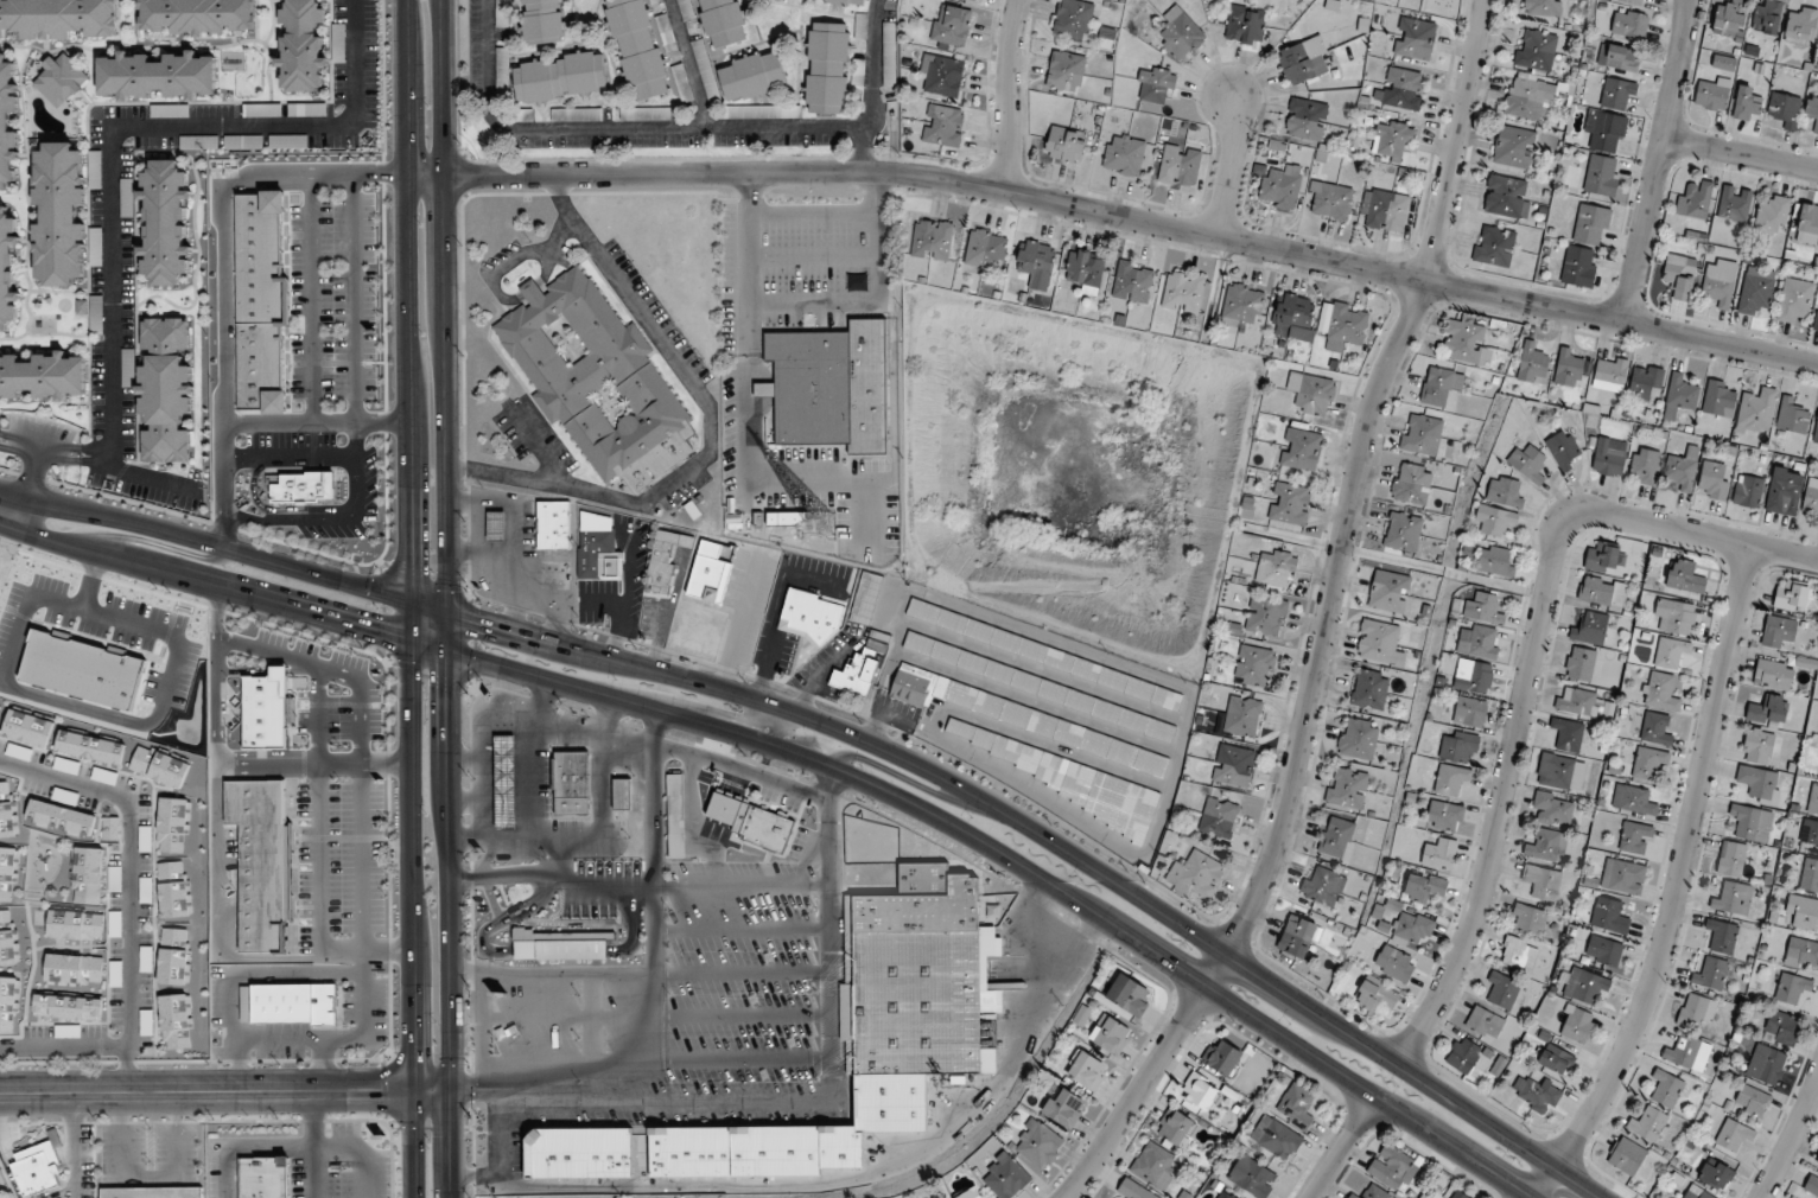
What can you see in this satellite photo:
building: (654, 0)
building: (973, 0)
building: (846, 1)
building: (1627, 1)
building: (1542, 7)
building: (501, 13)
building: (195, 15)
building: (1766, 17)
building: (1728, 18)
building: (57, 19)
building: (1072, 19)
building: (541, 21)
building: (720, 23)
building: (1629, 24)
building: (1245, 25)
building: (1801, 25)
building: (951, 27)
building: (860, 30)
building: (1180, 34)
building: (1415, 38)
building: (301, 46)
building: (1817, 47)
building: (637, 49)
building: (1536, 50)
building: (889, 53)
building: (1619, 57)
building: (1301, 63)
building: (827, 68)
building: (1066, 71)
building: (157, 76)
building: (559, 76)
building: (751, 76)
building: (941, 76)
building: (58, 79)
building: (1156, 84)
building: (1403, 89)
road: (1007, 94)
building: (1617, 94)
building: (1712, 94)
building: (1530, 97)
building: (1746, 104)
building: (1785, 109)
building: (1812, 109)
building: (522, 114)
building: (576, 114)
building: (1305, 119)
building: (7, 123)
building: (943, 126)
road: (684, 127)
building: (1606, 130)
building: (1392, 139)
building: (1064, 145)
building: (1513, 146)
road: (862, 149)
building: (1124, 154)
road: (1741, 154)
road: (1659, 161)
road: (110, 164)
road: (1232, 165)
building: (1180, 166)
building: (94, 170)
building: (1601, 174)
building: (1279, 189)
building: (1506, 196)
building: (1695, 197)
building: (1330, 200)
building: (1734, 203)
building: (1385, 210)
building: (59, 214)
road: (1117, 214)
building: (1772, 216)
building: (165, 222)
building: (1591, 224)
building: (1807, 225)
road: (748, 237)
road: (878, 237)
building: (932, 240)
building: (1494, 246)
building: (95, 247)
building: (985, 249)
building: (1035, 259)
building: (1579, 266)
building: (8, 269)
building: (1085, 269)
building: (1679, 275)
building: (1132, 281)
building: (856, 282)
building: (1755, 289)
building: (1717, 291)
building: (1183, 292)
building: (1794, 299)
road: (815, 302)
building: (1241, 306)
building: (95, 314)
building: (1293, 317)
building: (1816, 320)
building: (1346, 327)
building: (1464, 343)
building: (1532, 364)
building: (1568, 367)
building: (1610, 374)
building: (43, 376)
building: (597, 381)
building: (1645, 381)
building: (1439, 385)
building: (829, 387)
building: (165, 390)
building: (1312, 393)
building: (1679, 396)
building: (1720, 399)
building: (1756, 410)
building: (1791, 416)
road: (710, 428)
building: (1817, 432)
building: (1422, 434)
road: (34, 448)
building: (1563, 448)
building: (1301, 450)
road: (100, 455)
building: (1607, 459)
building: (1527, 463)
building: (1644, 465)
building: (1683, 469)
building: (1714, 480)
road: (825, 484)
building: (1411, 484)
road: (28, 489)
building: (1748, 491)
building: (1785, 491)
building: (1505, 492)
building: (1811, 497)
building: (1290, 503)
building: (787, 518)
building: (1495, 520)
building: (553, 525)
building: (496, 527)
building: (1403, 531)
building: (595, 543)
building: (1601, 556)
traffic signals: (407, 559)
building: (665, 559)
building: (1495, 560)
building: (1276, 568)
building: (711, 572)
building: (1685, 576)
building: (1388, 591)
building: (1602, 592)
building: (1791, 595)
building: (865, 598)
road: (407, 599)
road: (446, 599)
building: (1482, 607)
building: (1266, 616)
building: (809, 617)
building: (1673, 617)
road: (1326, 620)
traffic signals: (487, 622)
building: (1590, 629)
traffic signals: (371, 630)
building: (1778, 631)
building: (1479, 642)
building: (1380, 643)
building: (876, 646)
building: (1672, 652)
building: (1045, 655)
building: (1581, 663)
building: (1254, 665)
road: (1530, 673)
building: (856, 675)
building: (1773, 675)
building: (1473, 676)
building: (1037, 686)
building: (1369, 689)
building: (1660, 692)
traffic signals: (447, 694)
building: (1576, 703)
road: (694, 705)
building: (0, 708)
building: (1767, 710)
building: (1469, 712)
building: (1242, 716)
building: (1024, 720)
road: (780, 727)
building: (27, 728)
building: (1655, 731)
road: (489, 734)
road: (612, 734)
road: (851, 734)
building: (1568, 734)
building: (1359, 738)
building: (1759, 746)
building: (89, 747)
building: (1457, 747)
road: (809, 759)
road: (312, 763)
building: (1234, 765)
building: (1647, 765)
building: (158, 766)
road: (742, 771)
building: (1562, 772)
building: (1056, 775)
building: (103, 776)
building: (1450, 779)
road: (909, 780)
building: (504, 782)
building: (572, 782)
building: (1757, 782)
building: (1346, 789)
road: (483, 792)
building: (622, 794)
building: (64, 796)
road: (534, 798)
road: (656, 798)
building: (1633, 799)
building: (1813, 801)
building: (1553, 809)
building: (6, 810)
road: (485, 816)
building: (675, 816)
building: (1444, 816)
building: (61, 818)
building: (1219, 818)
building: (749, 821)
building: (1752, 822)
building: (172, 824)
building: (109, 828)
building: (1810, 831)
building: (1336, 837)
building: (1635, 837)
building: (144, 839)
building: (1552, 846)
road: (552, 850)
building: (1441, 853)
building: (1734, 859)
building: (260, 860)
building: (6, 873)
building: (87, 875)
building: (1196, 875)
building: (1810, 875)
building: (1623, 877)
building: (114, 879)
road: (129, 879)
building: (1542, 881)
road: (1677, 882)
road: (593, 885)
road: (797, 886)
building: (1322, 886)
building: (1424, 887)
building: (173, 888)
building: (1733, 898)
building: (1803, 911)
building: (1609, 916)
road: (215, 919)
building: (1528, 919)
building: (75, 925)
building: (1412, 928)
building: (1722, 935)
building: (1297, 936)
building: (7, 939)
building: (560, 943)
building: (1603, 950)
road: (364, 951)
building: (1519, 954)
building: (1801, 954)
building: (173, 956)
building: (1394, 963)
road: (464, 967)
building: (74, 969)
road: (565, 971)
building: (1710, 974)
building: (1583, 986)
building: (1501, 990)
building: (1792, 992)
building: (1375, 994)
building: (1130, 995)
building: (7, 1002)
building: (288, 1002)
building: (66, 1007)
building: (1697, 1012)
building: (174, 1021)
building: (1485, 1022)
building: (1576, 1024)
road: (479, 1027)
building: (1781, 1027)
building: (875, 1031)
building: (1110, 1035)
road: (338, 1038)
road: (64, 1046)
building: (1687, 1052)
building: (1463, 1054)
building: (1221, 1057)
building: (1555, 1057)
building: (1766, 1064)
road: (239, 1065)
road: (319, 1065)
road: (584, 1066)
building: (1086, 1071)
building: (1666, 1089)
building: (1199, 1091)
road: (225, 1092)
building: (1536, 1094)
building: (1752, 1102)
building: (1296, 1105)
building: (1064, 1109)
building: (1648, 1124)
building: (1175, 1127)
building: (1734, 1135)
building: (1276, 1138)
road: (1792, 1141)
road: (312, 1145)
building: (1036, 1145)
road: (1342, 1147)
building: (578, 1153)
building: (1626, 1155)
building: (1817, 1159)
building: (1153, 1166)
building: (1393, 1168)
building: (37, 1170)
building: (1715, 1174)
road: (150, 1175)
building: (1006, 1177)
building: (1252, 1177)
building: (263, 1178)
building: (1811, 1187)
building: (1133, 1190)
building: (152, 1192)
building: (970, 1193)
building: (1371, 1193)
building: (1696, 1193)
building: (1226, 1194)
building: (1458, 1194)

